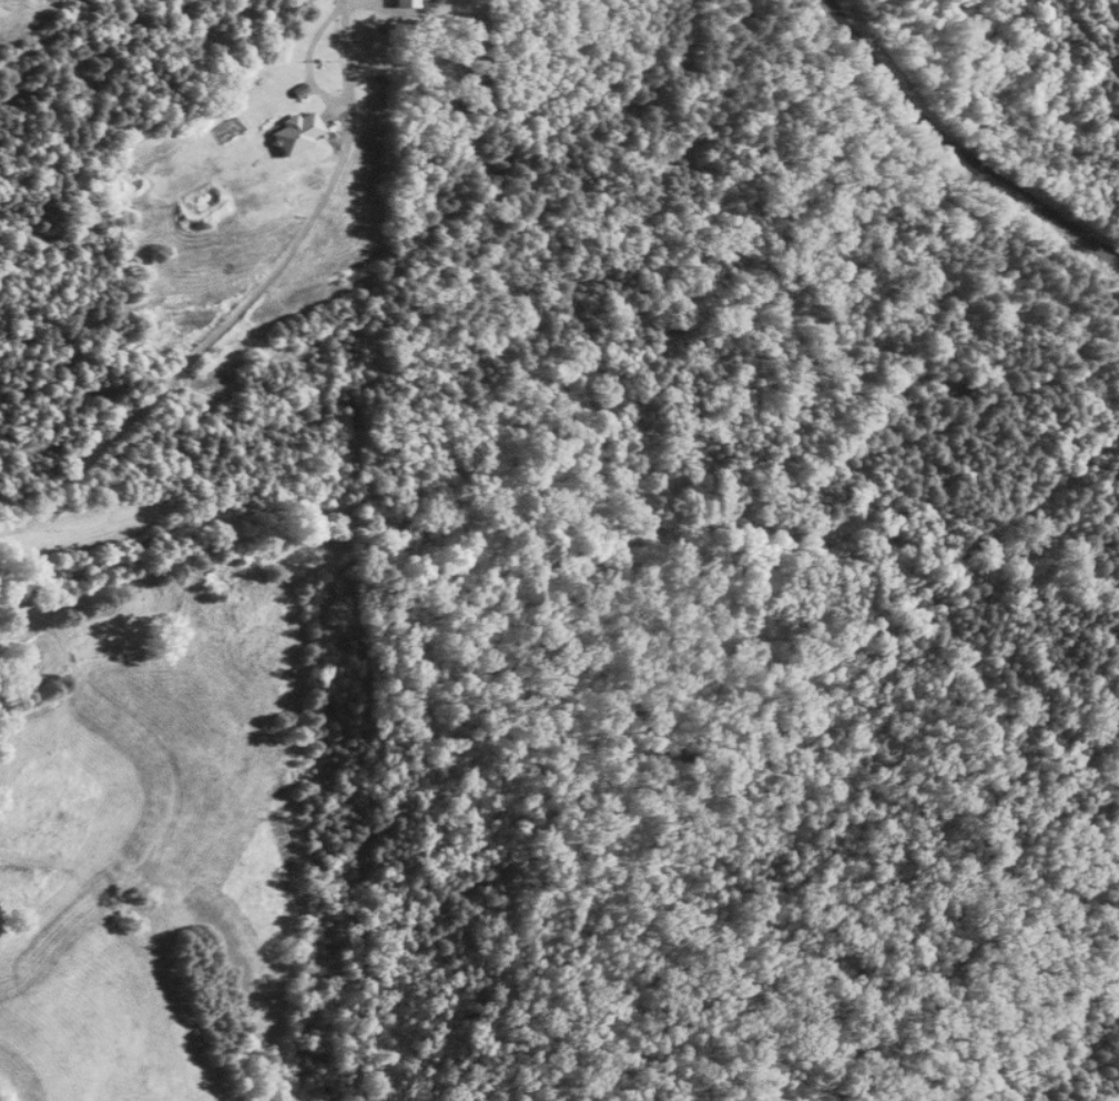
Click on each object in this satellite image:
building: (408, 3)
road: (355, 62)
building: (295, 132)
road: (956, 149)

